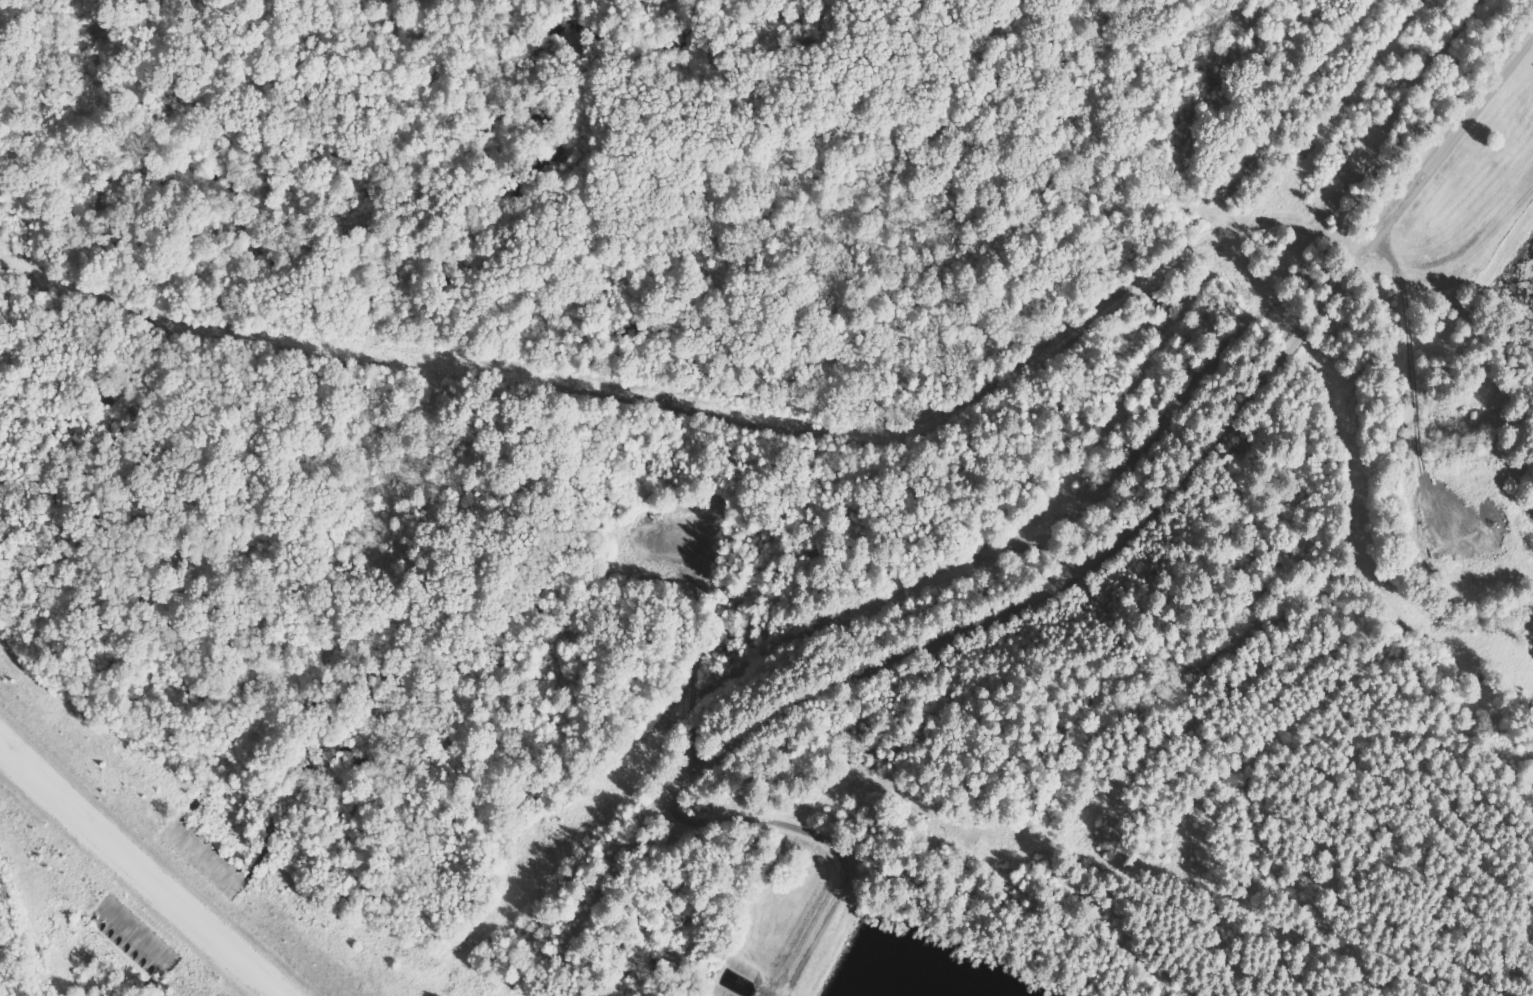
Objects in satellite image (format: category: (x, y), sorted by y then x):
road: (143, 868)

